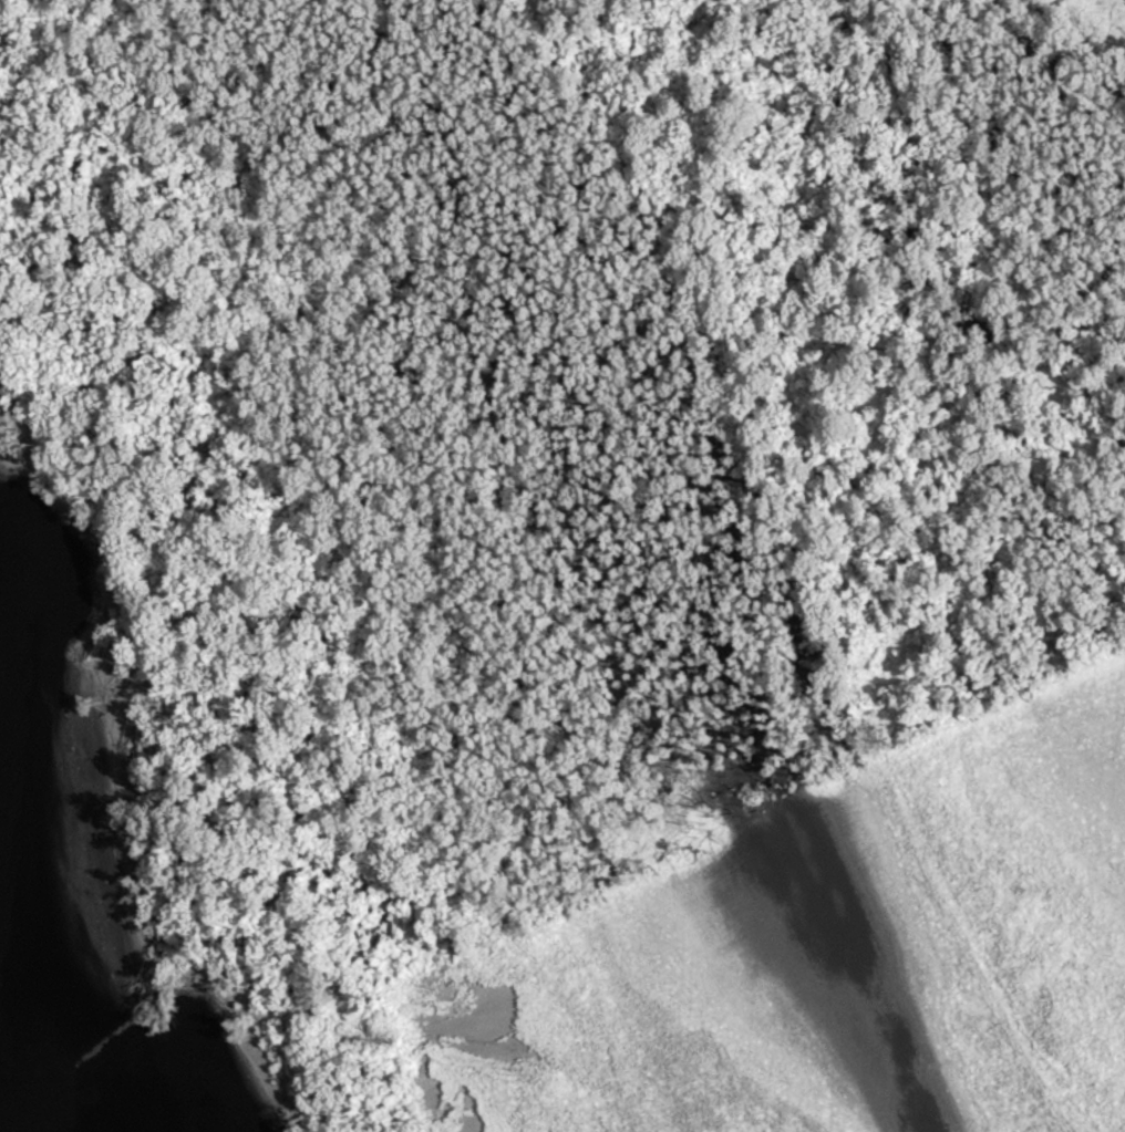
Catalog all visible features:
crop: (827, 953)

